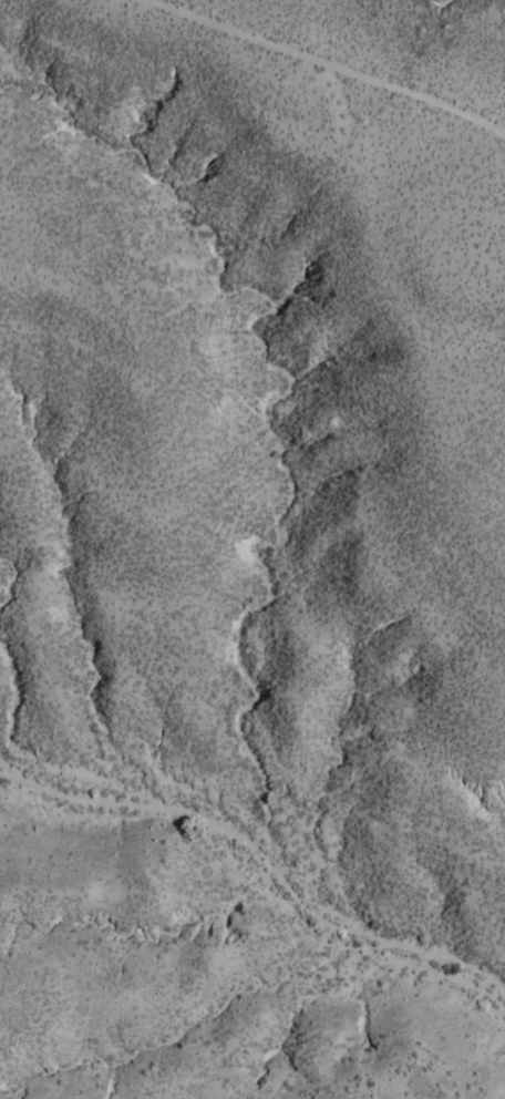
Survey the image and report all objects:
road: (321, 65)

